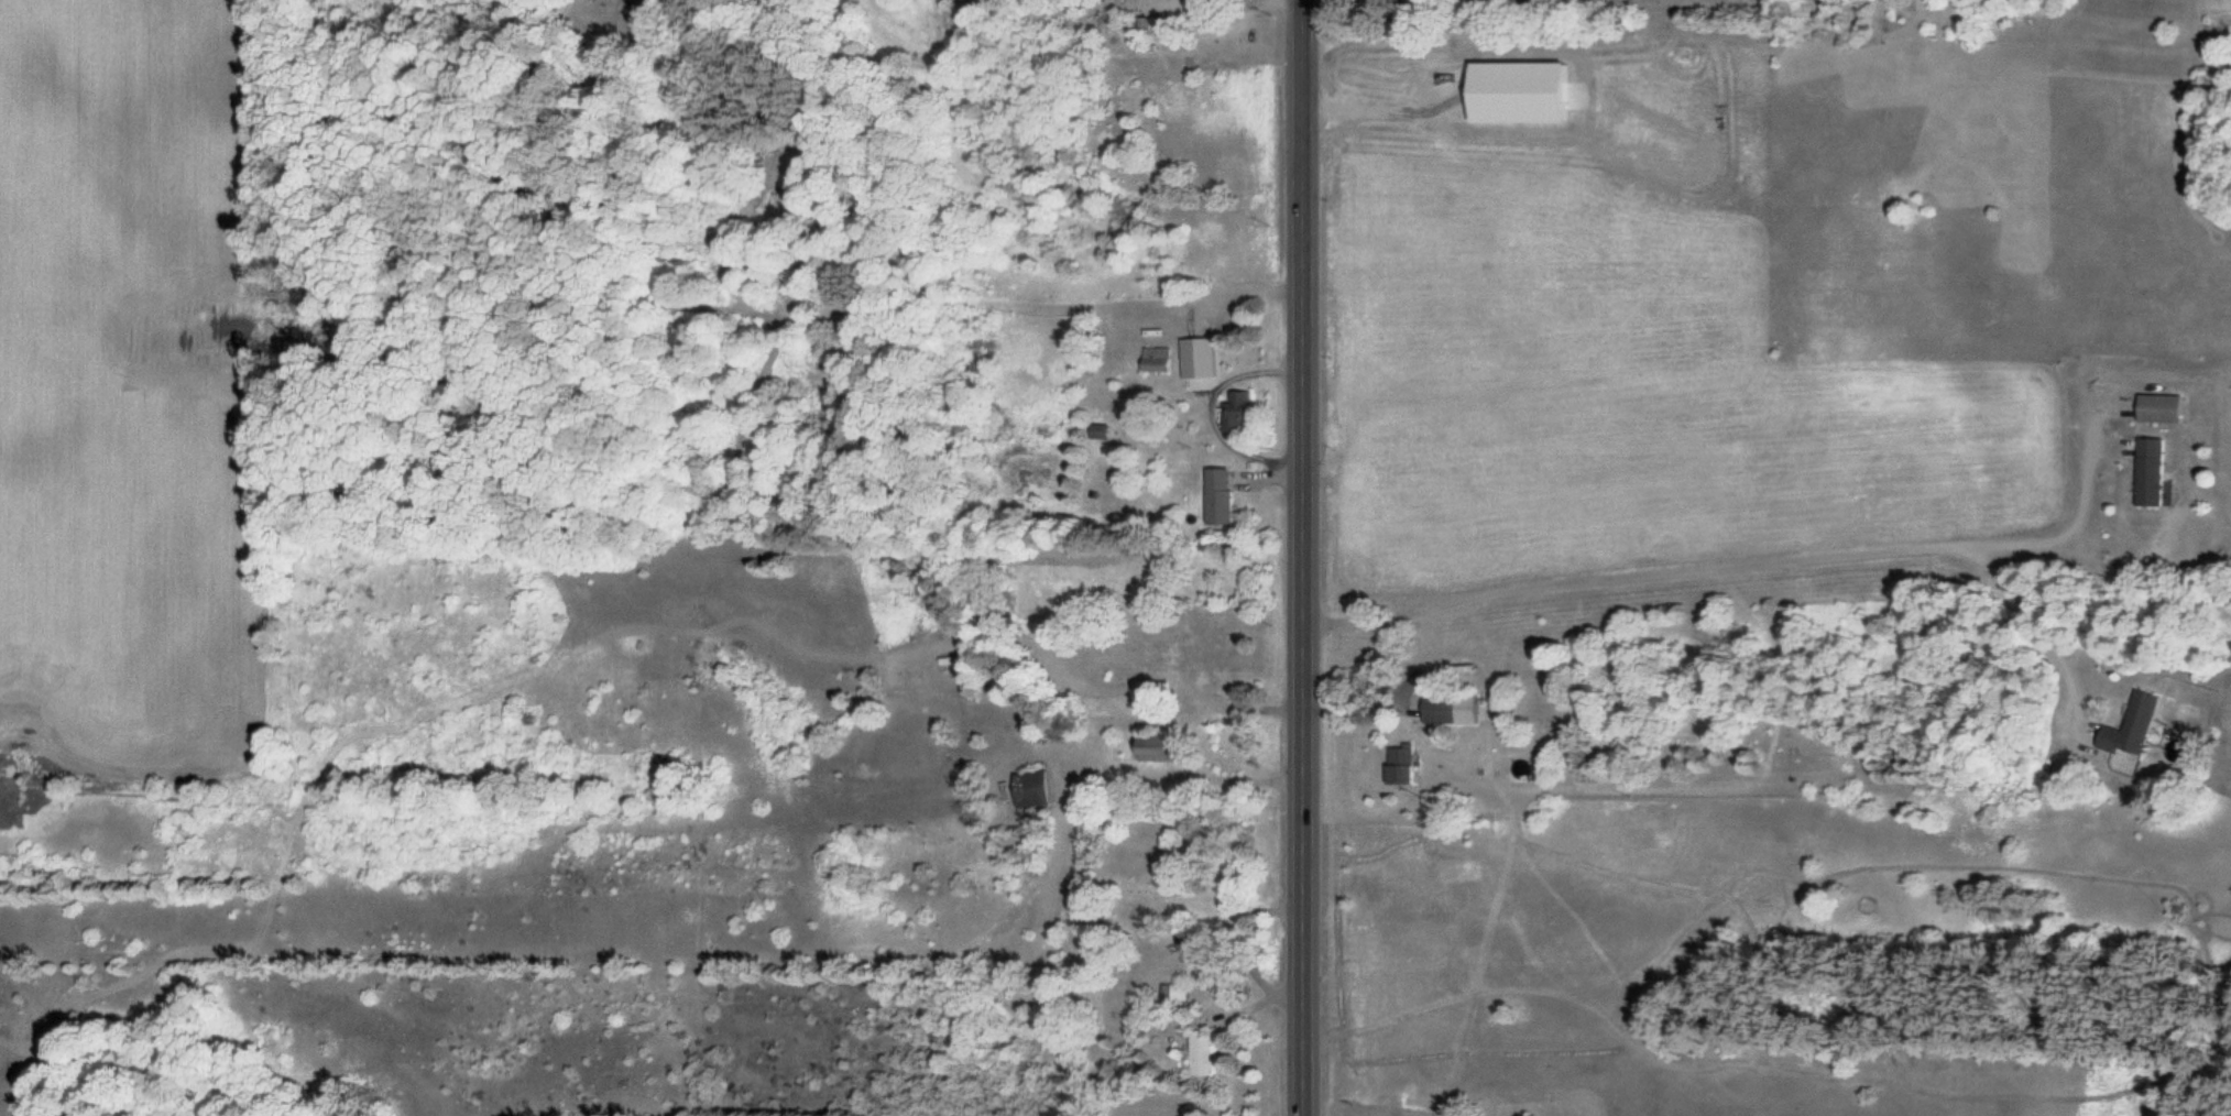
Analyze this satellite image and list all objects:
building: (1155, 360)
building: (1201, 368)
building: (2157, 408)
building: (1233, 413)
building: (1095, 431)
building: (2148, 473)
building: (1215, 496)
road: (1300, 558)
building: (1101, 655)
building: (1233, 657)
building: (1447, 709)
building: (2128, 729)
building: (1160, 748)
building: (1028, 791)
building: (1175, 993)
building: (1197, 1055)

